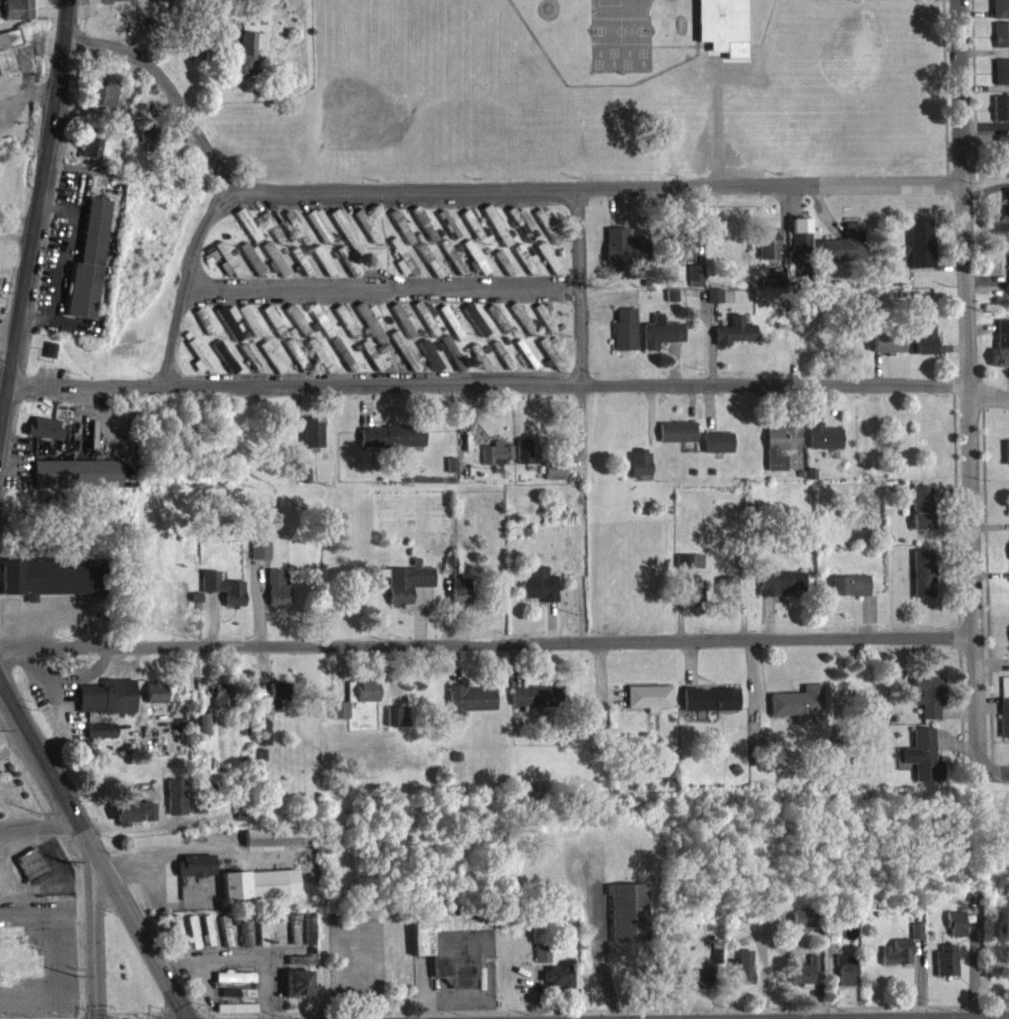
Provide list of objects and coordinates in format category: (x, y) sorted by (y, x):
building: (119, 4)
building: (1000, 13)
building: (17, 17)
building: (723, 24)
building: (1001, 44)
building: (8, 59)
building: (246, 64)
building: (1001, 81)
park: (841, 92)
road: (27, 103)
building: (108, 110)
building: (1000, 117)
building: (141, 119)
building: (147, 144)
building: (94, 157)
building: (1003, 162)
road: (475, 189)
building: (1007, 211)
road: (40, 214)
building: (519, 232)
building: (318, 233)
building: (422, 233)
building: (446, 233)
building: (470, 233)
building: (546, 233)
building: (246, 234)
building: (271, 234)
building: (365, 234)
building: (494, 234)
building: (400, 236)
building: (344, 237)
building: (767, 252)
building: (919, 253)
building: (843, 254)
building: (622, 255)
building: (684, 259)
building: (1008, 264)
building: (401, 266)
building: (450, 266)
building: (546, 267)
building: (250, 268)
building: (523, 268)
building: (273, 269)
building: (322, 269)
building: (427, 269)
building: (300, 270)
building: (345, 270)
building: (87, 271)
building: (502, 271)
road: (185, 281)
building: (694, 284)
road: (578, 285)
road: (381, 287)
building: (775, 288)
building: (713, 304)
building: (543, 324)
building: (474, 327)
building: (497, 327)
building: (426, 328)
building: (522, 328)
building: (247, 329)
building: (296, 329)
building: (320, 329)
building: (401, 329)
building: (228, 330)
building: (273, 330)
building: (345, 330)
building: (369, 330)
building: (623, 338)
building: (733, 340)
building: (659, 341)
building: (923, 346)
building: (886, 350)
building: (1001, 352)
building: (49, 359)
building: (403, 359)
building: (547, 360)
building: (450, 361)
building: (523, 362)
building: (295, 363)
building: (318, 363)
building: (429, 364)
building: (500, 364)
building: (224, 365)
building: (370, 365)
building: (477, 365)
building: (199, 366)
building: (248, 366)
building: (270, 366)
road: (509, 383)
road: (967, 384)
building: (43, 437)
building: (676, 441)
building: (310, 442)
building: (390, 445)
building: (822, 445)
building: (716, 452)
building: (780, 453)
building: (1006, 461)
building: (638, 473)
building: (553, 479)
building: (75, 482)
building: (921, 517)
building: (259, 559)
building: (688, 571)
building: (922, 582)
building: (50, 586)
building: (456, 591)
building: (778, 591)
building: (405, 592)
building: (538, 594)
building: (849, 594)
building: (222, 597)
building: (276, 598)
building: (726, 598)
building: (692, 601)
road: (486, 640)
building: (360, 700)
building: (155, 702)
building: (276, 702)
building: (219, 703)
building: (926, 703)
building: (106, 705)
building: (534, 705)
building: (648, 706)
building: (709, 708)
building: (468, 709)
building: (797, 711)
building: (338, 719)
building: (396, 725)
building: (1004, 726)
building: (200, 733)
building: (100, 739)
building: (261, 742)
building: (922, 765)
road: (996, 770)
building: (174, 806)
building: (133, 822)
road: (41, 826)
building: (275, 846)
road: (95, 849)
building: (29, 873)
building: (193, 875)
building: (258, 893)
building: (626, 921)
building: (802, 928)
building: (954, 932)
building: (292, 938)
building: (307, 938)
building: (206, 939)
building: (175, 940)
building: (224, 940)
building: (243, 940)
building: (915, 940)
building: (191, 941)
building: (260, 942)
road: (93, 943)
road: (600, 944)
building: (450, 954)
road: (244, 957)
building: (895, 961)
building: (540, 962)
building: (299, 969)
building: (945, 969)
building: (744, 976)
building: (845, 979)
building: (695, 985)
building: (233, 986)
building: (555, 987)
building: (295, 993)
building: (236, 1002)
road: (544, 1007)
road: (158, 1015)
building: (234, 1015)
road: (81, 1016)

